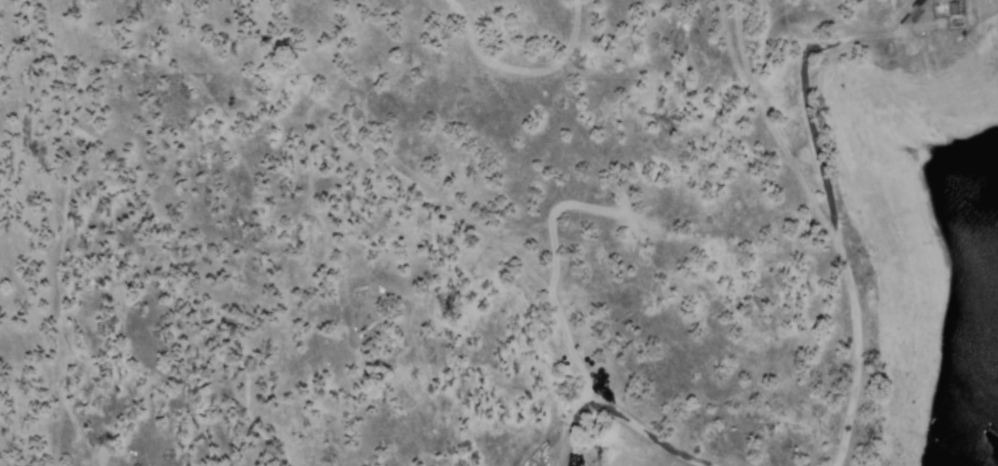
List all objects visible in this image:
building: (955, 9)
road: (825, 224)
road: (620, 414)

